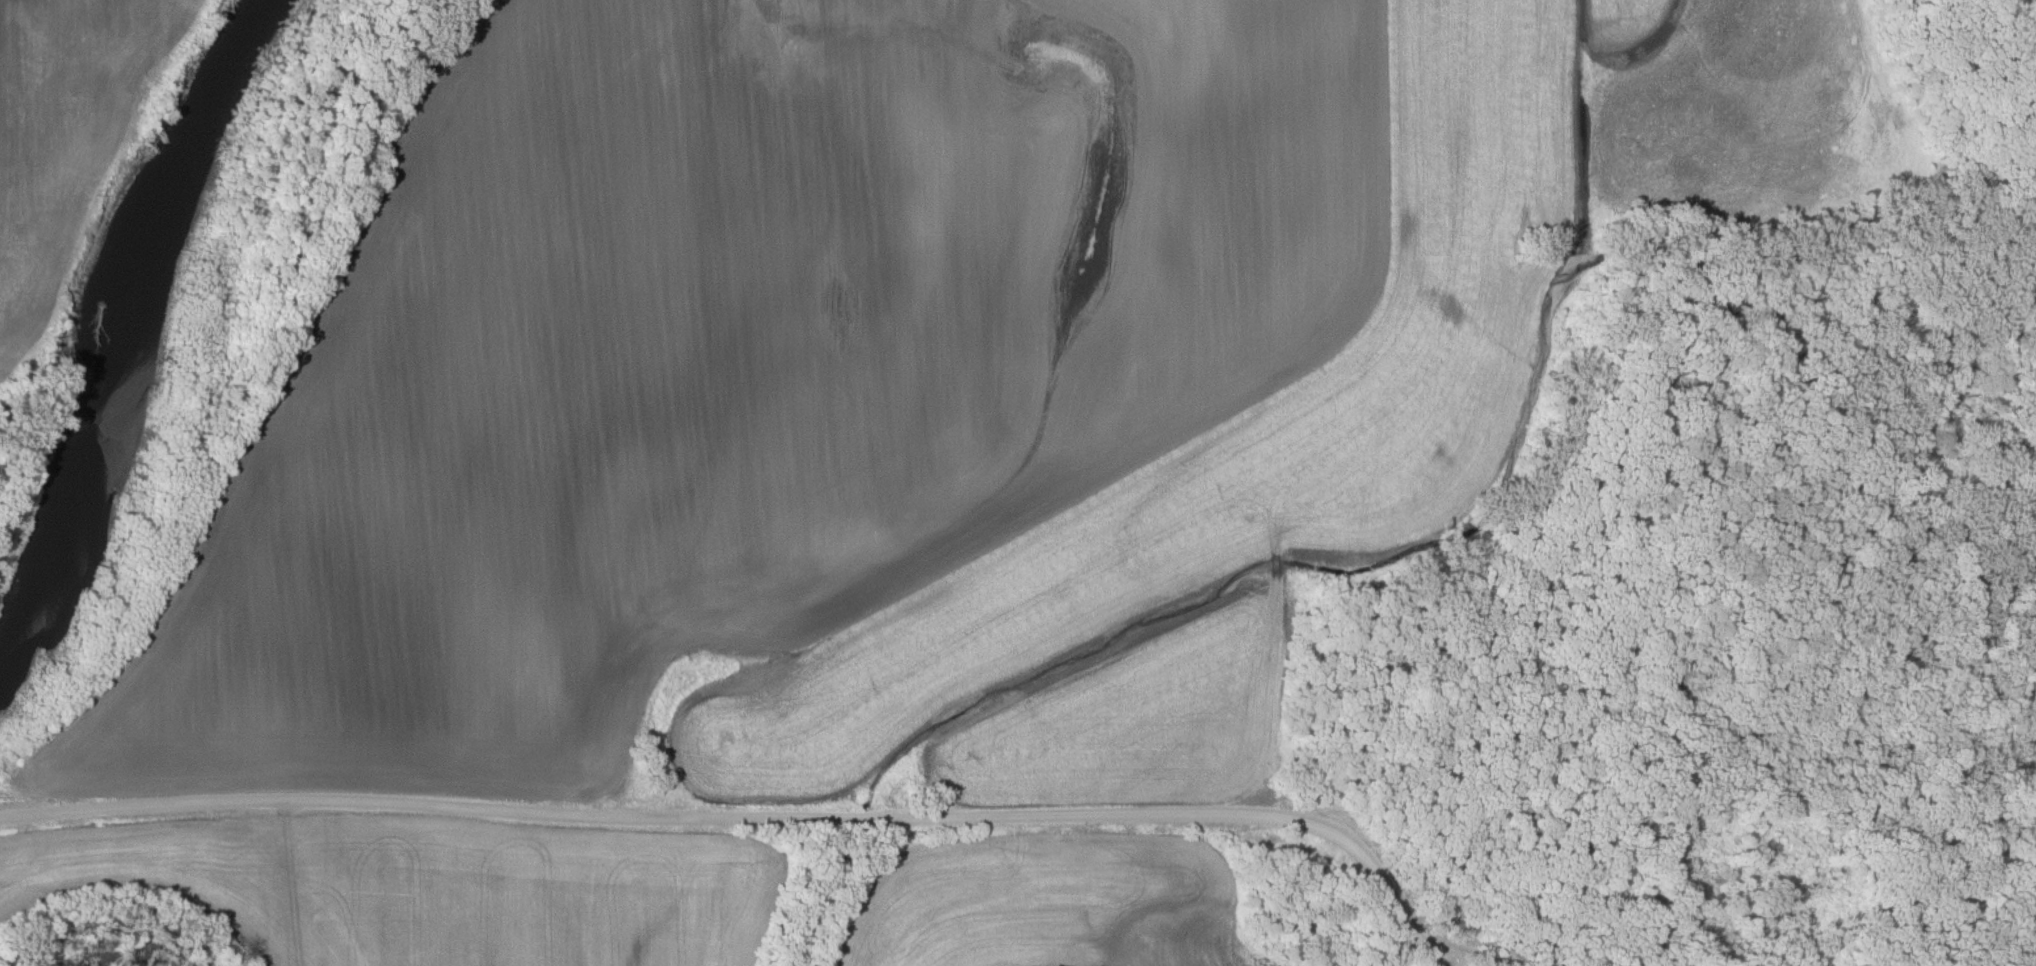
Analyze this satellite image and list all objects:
river: (103, 358)
road: (755, 820)

